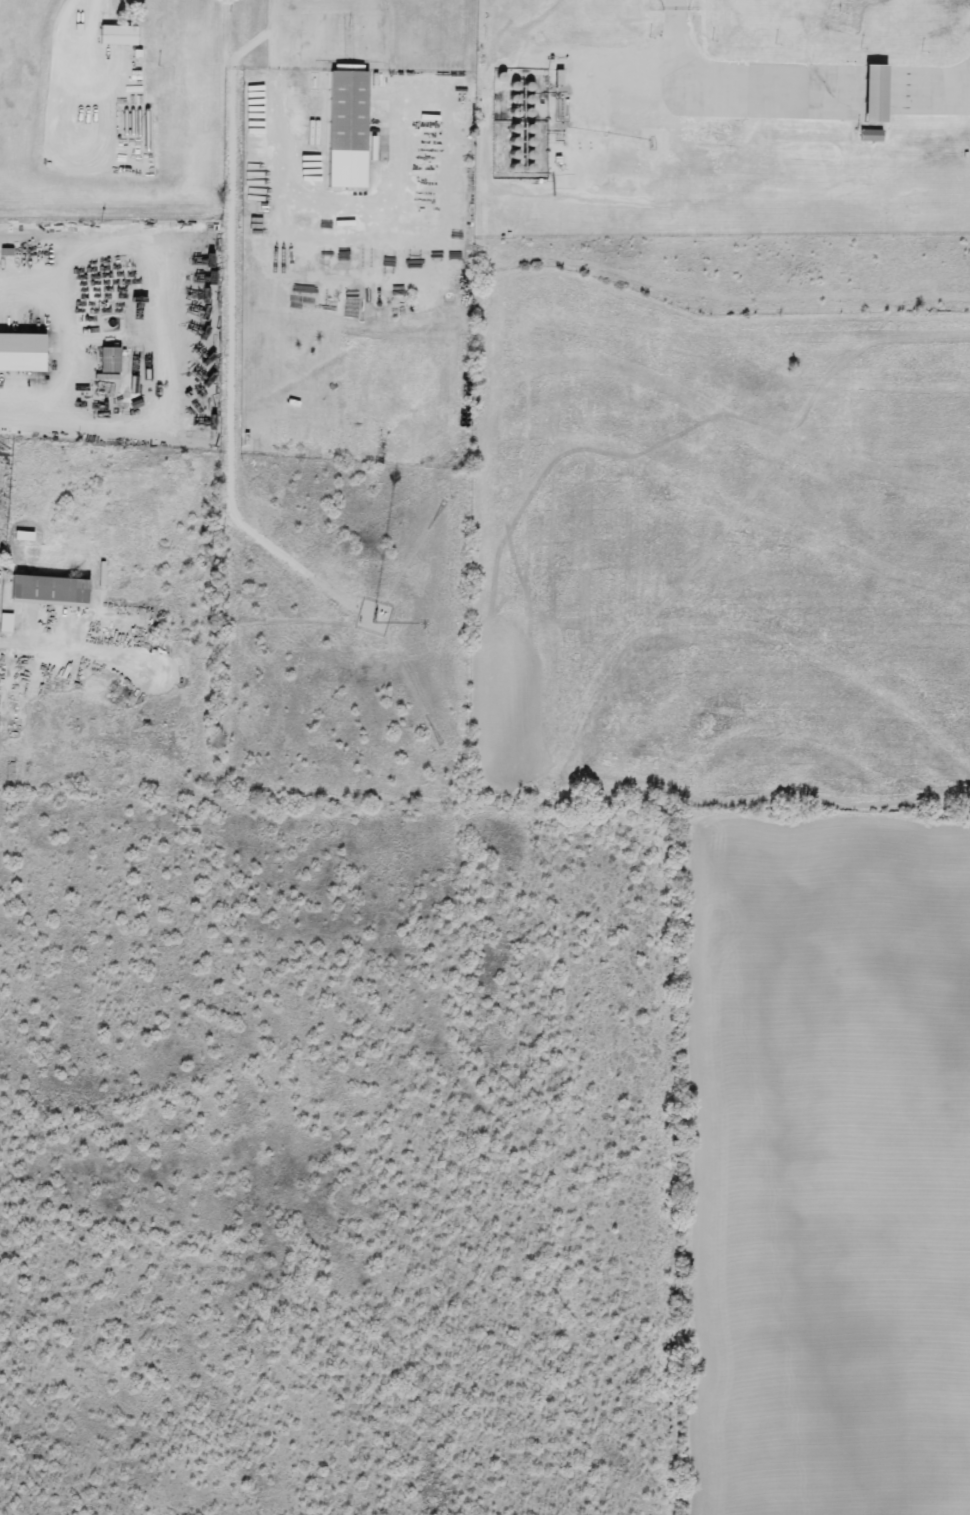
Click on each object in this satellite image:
building: (116, 34)
road: (277, 50)
road: (90, 52)
building: (555, 76)
building: (871, 93)
building: (344, 128)
building: (867, 135)
road: (277, 156)
road: (72, 341)
building: (19, 353)
building: (107, 360)
building: (46, 590)
road: (34, 641)

